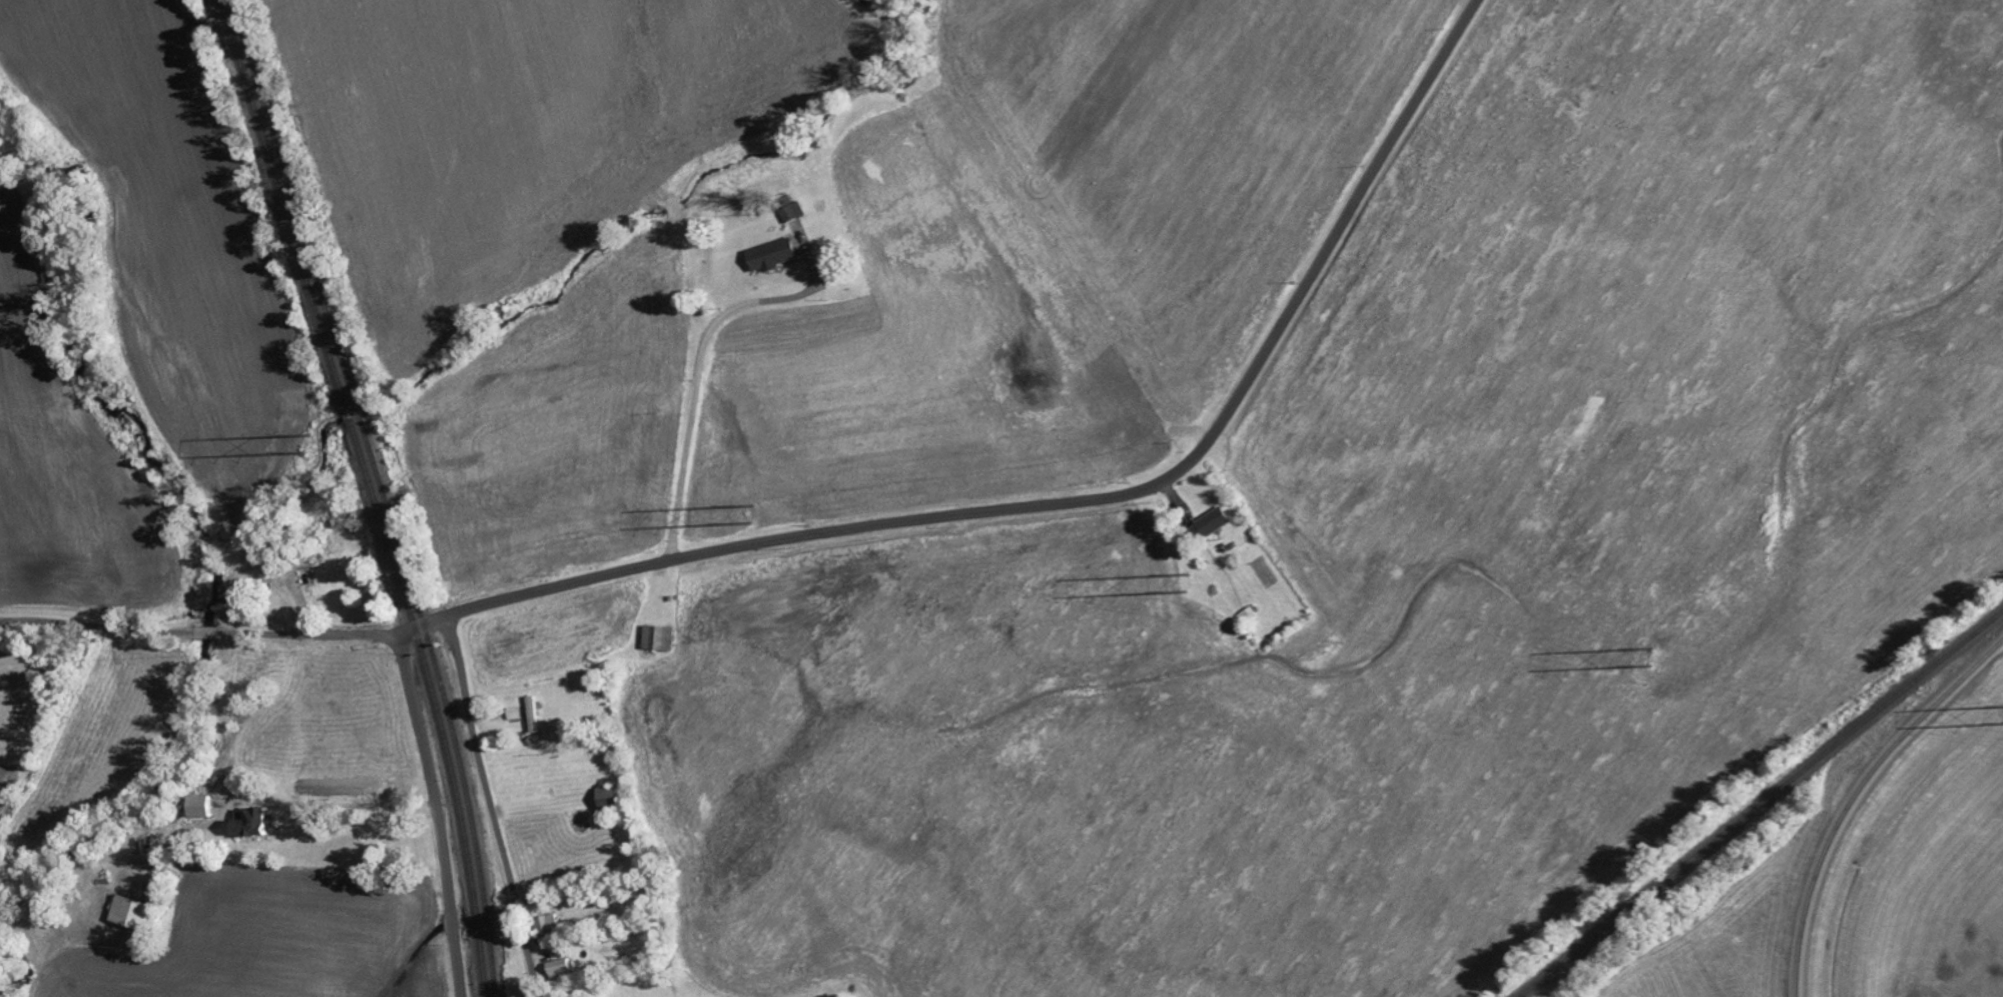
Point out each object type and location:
building: (776, 254)
road: (700, 368)
power tower: (306, 445)
railway: (370, 494)
railway: (381, 494)
road: (1059, 499)
power tower: (753, 515)
building: (1213, 524)
power tower: (1185, 583)
road: (197, 634)
building: (662, 636)
power tower: (1649, 657)
building: (536, 713)
building: (617, 796)
road: (334, 802)
railway: (1760, 802)
building: (208, 804)
road: (489, 805)
road: (436, 812)
building: (259, 820)
building: (138, 911)
building: (563, 966)

